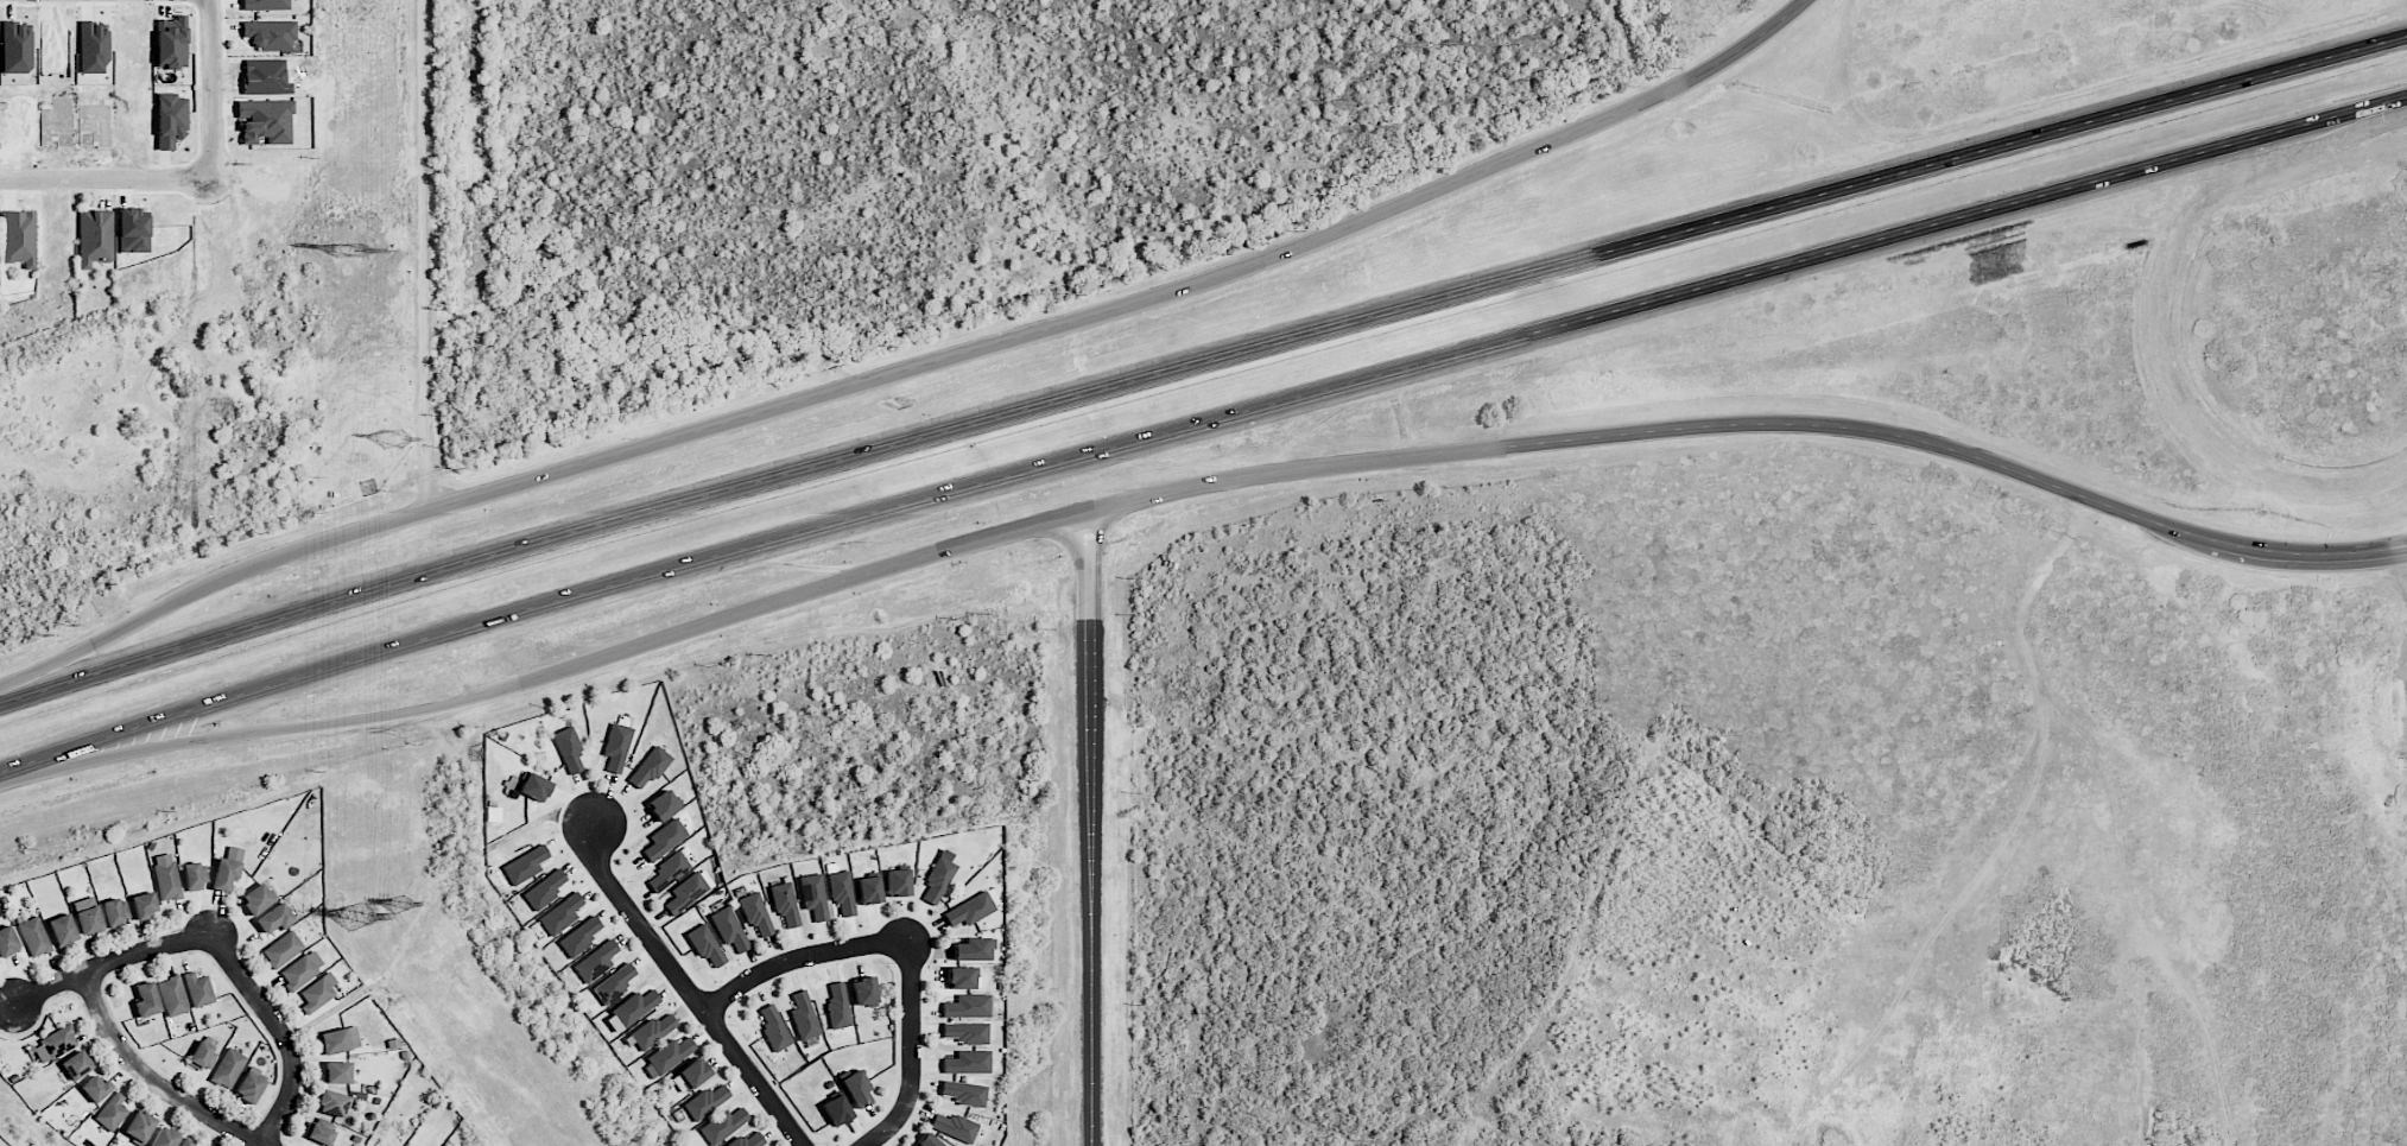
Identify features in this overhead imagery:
building: (266, 4)
building: (268, 34)
building: (171, 43)
road: (210, 87)
building: (170, 119)
building: (265, 120)
road: (107, 175)
building: (132, 229)
building: (94, 236)
building: (18, 238)
power tower: (349, 249)
road: (423, 253)
road: (1136, 298)
road: (1201, 365)
road: (1202, 428)
power tower: (395, 439)
road: (1445, 452)
road: (210, 581)
road: (247, 732)
building: (616, 746)
building: (568, 748)
building: (648, 767)
building: (533, 786)
building: (663, 804)
road: (1088, 828)
building: (665, 838)
building: (524, 865)
building: (227, 868)
building: (669, 870)
building: (192, 875)
building: (165, 876)
building: (937, 876)
building: (897, 882)
building: (543, 889)
building: (868, 889)
building: (688, 891)
building: (841, 892)
building: (813, 895)
building: (255, 899)
building: (784, 903)
building: (144, 904)
power tower: (401, 905)
building: (969, 910)
building: (112, 912)
building: (560, 913)
building: (87, 914)
power tower: (356, 914)
building: (755, 914)
building: (274, 918)
building: (728, 927)
building: (62, 929)
building: (32, 935)
building: (578, 936)
building: (7, 941)
building: (704, 943)
building: (283, 949)
building: (973, 949)
road: (797, 957)
road: (108, 960)
building: (595, 961)
building: (298, 971)
building: (962, 977)
building: (615, 982)
road: (690, 988)
building: (198, 989)
building: (864, 990)
building: (318, 993)
building: (172, 995)
building: (145, 999)
building: (837, 1006)
building: (967, 1006)
building: (634, 1007)
building: (804, 1015)
building: (774, 1028)
building: (652, 1030)
road: (281, 1031)
building: (965, 1032)
building: (338, 1039)
building: (53, 1044)
building: (667, 1055)
road: (911, 1055)
building: (203, 1056)
building: (968, 1062)
building: (75, 1064)
building: (228, 1068)
building: (336, 1071)
building: (689, 1075)
road: (151, 1078)
building: (94, 1087)
building: (248, 1087)
building: (855, 1089)
building: (964, 1093)
building: (704, 1101)
building: (331, 1103)
building: (836, 1109)
building: (112, 1112)
building: (721, 1125)
building: (138, 1126)
building: (955, 1127)
building: (318, 1133)
building: (164, 1138)
building: (746, 1140)
building: (926, 1140)
building: (186, 1142)

